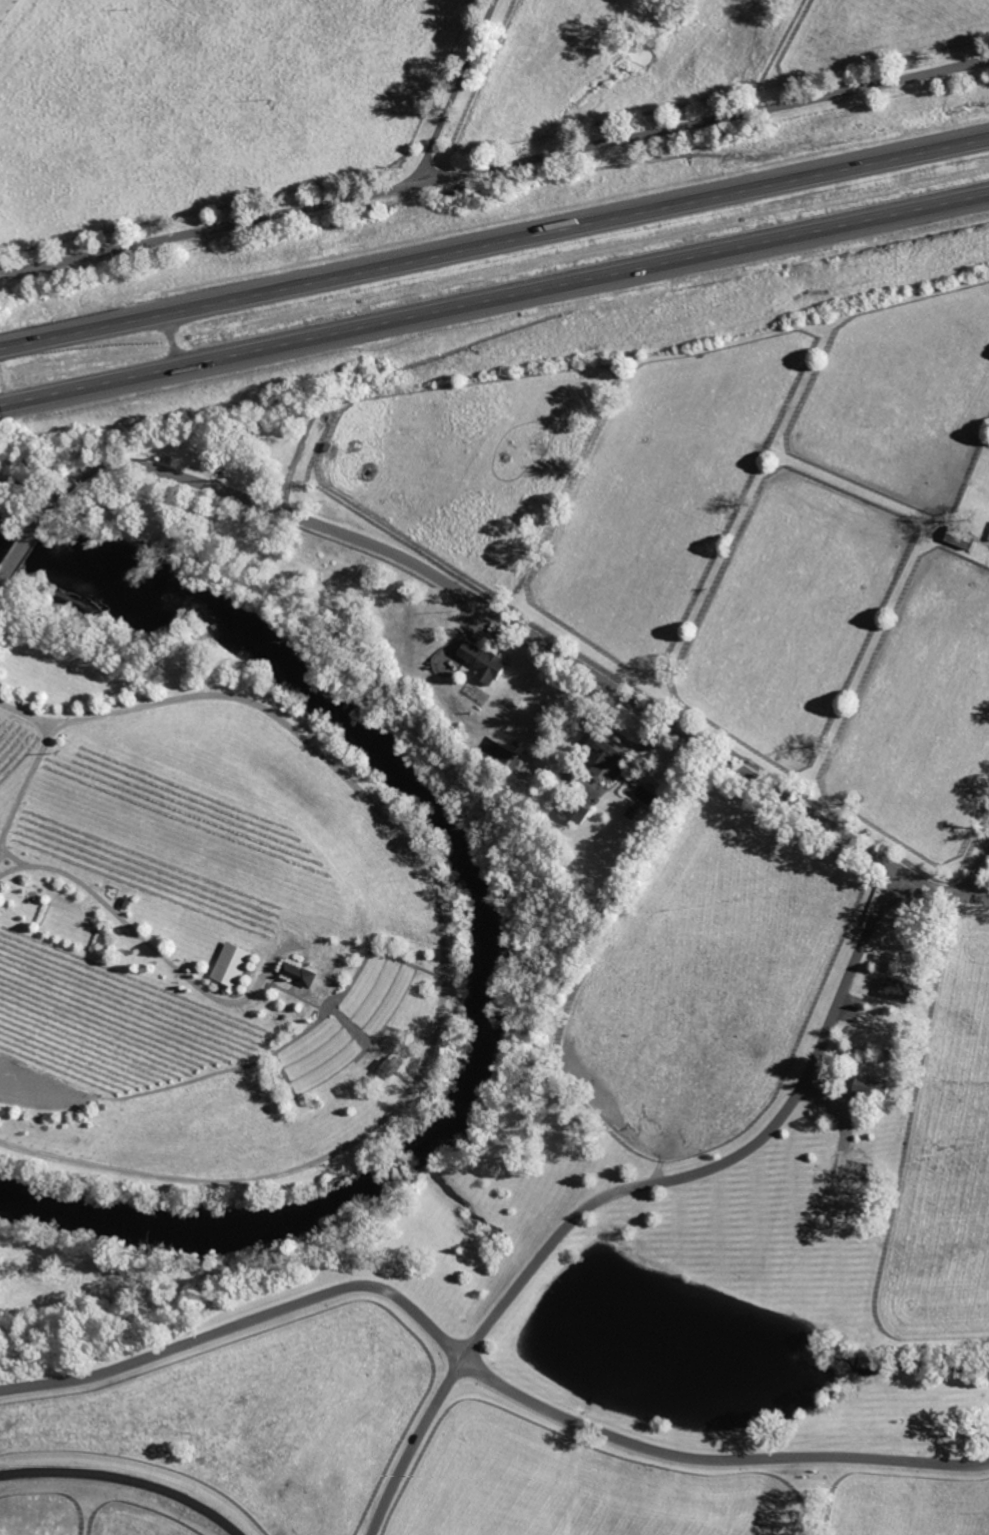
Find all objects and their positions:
building: (4, 5)
road: (455, 89)
road: (516, 162)
road: (551, 230)
road: (22, 269)
road: (575, 286)
road: (58, 340)
road: (178, 343)
road: (85, 391)
road: (4, 406)
road: (18, 565)
road: (506, 620)
building: (481, 661)
building: (603, 754)
road: (25, 786)
building: (575, 812)
road: (13, 857)
road: (978, 873)
road: (978, 896)
road: (153, 945)
river: (506, 945)
road: (445, 952)
building: (229, 964)
building: (295, 972)
building: (868, 1087)
building: (850, 1167)
road: (506, 1301)
road: (243, 1325)
road: (415, 1444)

